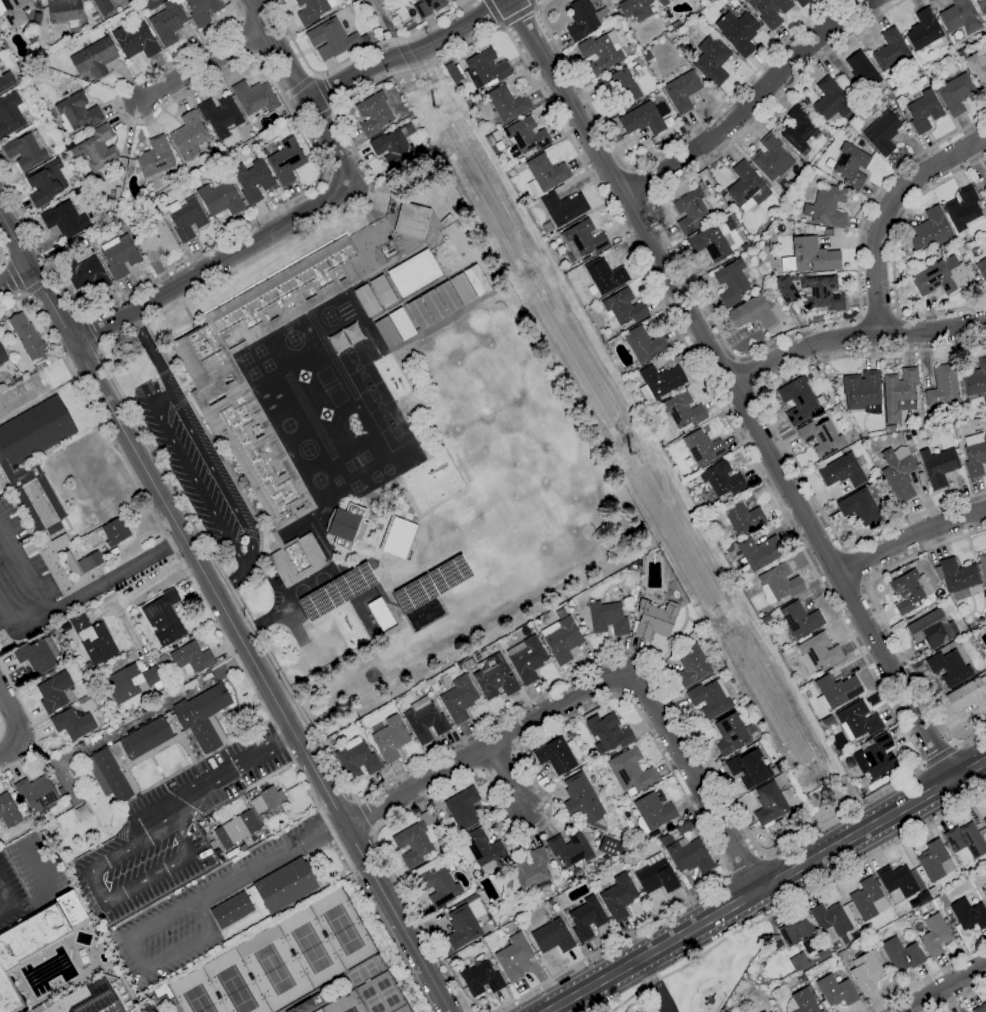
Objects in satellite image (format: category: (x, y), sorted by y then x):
building: (120, 0)
building: (451, 0)
building: (664, 2)
building: (733, 2)
building: (802, 2)
road: (533, 3)
building: (103, 6)
building: (981, 6)
building: (428, 7)
building: (636, 9)
building: (203, 10)
building: (313, 10)
building: (769, 10)
building: (15, 11)
building: (64, 12)
road: (494, 13)
road: (517, 15)
building: (95, 16)
building: (959, 16)
building: (585, 19)
building: (168, 23)
building: (675, 25)
building: (924, 30)
building: (738, 31)
building: (333, 39)
building: (136, 41)
road: (276, 48)
building: (890, 49)
road: (410, 52)
building: (601, 52)
road: (355, 54)
building: (95, 58)
building: (712, 60)
building: (908, 62)
road: (200, 64)
building: (486, 68)
building: (978, 69)
building: (454, 72)
building: (864, 72)
building: (923, 80)
building: (6, 82)
building: (625, 83)
road: (300, 85)
building: (682, 91)
road: (324, 92)
building: (956, 93)
building: (255, 97)
building: (830, 100)
road: (748, 102)
building: (507, 103)
power tower: (432, 107)
building: (924, 111)
building: (74, 112)
building: (375, 113)
building: (11, 114)
building: (221, 116)
building: (647, 116)
road: (318, 118)
building: (799, 130)
building: (79, 133)
building: (882, 133)
building: (189, 136)
building: (525, 136)
building: (490, 138)
road: (328, 139)
building: (860, 144)
building: (394, 146)
building: (499, 146)
building: (658, 146)
building: (99, 148)
road: (659, 149)
building: (26, 151)
road: (318, 156)
building: (156, 158)
building: (772, 158)
building: (286, 161)
building: (851, 165)
building: (223, 171)
building: (511, 173)
building: (544, 174)
building: (253, 180)
building: (46, 183)
road: (639, 185)
building: (747, 187)
building: (220, 199)
road: (363, 206)
building: (790, 206)
building: (564, 207)
building: (828, 207)
building: (692, 209)
road: (885, 209)
building: (964, 209)
road: (905, 213)
building: (785, 216)
building: (187, 218)
building: (412, 219)
building: (65, 220)
building: (116, 223)
building: (931, 230)
building: (120, 232)
building: (155, 237)
building: (583, 239)
building: (714, 239)
building: (963, 240)
building: (744, 246)
building: (387, 247)
building: (985, 249)
building: (391, 253)
road: (3, 256)
building: (119, 256)
building: (813, 256)
road: (211, 264)
building: (981, 268)
building: (414, 273)
building: (86, 275)
building: (605, 275)
road: (14, 276)
road: (15, 276)
building: (941, 276)
building: (731, 282)
road: (40, 283)
building: (469, 283)
building: (785, 289)
building: (383, 291)
building: (821, 293)
building: (448, 296)
building: (367, 300)
building: (434, 305)
building: (624, 307)
road: (705, 309)
road: (942, 311)
building: (419, 313)
building: (753, 313)
road: (878, 316)
road: (89, 332)
building: (28, 337)
road: (853, 337)
building: (644, 344)
building: (2, 356)
road: (747, 375)
building: (975, 379)
building: (207, 382)
building: (660, 382)
road: (732, 389)
building: (943, 389)
building: (863, 392)
building: (898, 394)
building: (822, 397)
building: (798, 400)
building: (680, 411)
building: (925, 421)
building: (889, 428)
road: (776, 433)
building: (875, 434)
building: (821, 438)
building: (703, 447)
building: (975, 454)
power tower: (629, 455)
road: (205, 456)
parking lot: (186, 461)
building: (10, 463)
building: (939, 466)
building: (844, 470)
building: (898, 473)
road: (193, 476)
building: (722, 478)
building: (868, 484)
building: (859, 507)
building: (742, 516)
building: (347, 526)
building: (116, 532)
road: (908, 535)
building: (399, 537)
building: (279, 538)
building: (60, 542)
building: (102, 549)
building: (729, 549)
building: (759, 552)
building: (297, 560)
building: (90, 562)
road: (854, 564)
building: (983, 564)
parking lot: (20, 570)
road: (24, 570)
road: (116, 577)
building: (957, 577)
building: (778, 584)
building: (910, 591)
road: (129, 592)
building: (575, 609)
road: (100, 610)
road: (226, 611)
building: (985, 615)
building: (164, 618)
building: (608, 618)
building: (654, 619)
building: (766, 619)
road: (882, 620)
building: (798, 622)
building: (64, 627)
building: (933, 628)
road: (20, 629)
building: (52, 630)
building: (697, 633)
building: (703, 637)
building: (93, 639)
road: (224, 639)
building: (561, 639)
building: (984, 651)
building: (818, 653)
building: (38, 655)
building: (191, 658)
building: (527, 658)
building: (470, 664)
building: (692, 665)
building: (460, 666)
building: (949, 668)
building: (51, 673)
building: (468, 676)
building: (494, 677)
building: (431, 681)
building: (131, 682)
building: (423, 686)
building: (54, 691)
building: (836, 691)
building: (163, 692)
building: (969, 695)
building: (710, 698)
building: (459, 699)
building: (425, 720)
building: (828, 720)
building: (858, 721)
road: (33, 723)
building: (73, 724)
road: (1, 726)
road: (18, 726)
road: (549, 729)
building: (609, 732)
building: (763, 734)
building: (570, 735)
building: (731, 735)
building: (95, 738)
building: (390, 738)
building: (161, 739)
road: (486, 747)
road: (939, 753)
building: (878, 755)
building: (556, 756)
building: (356, 758)
building: (778, 767)
building: (749, 768)
road: (225, 770)
building: (631, 771)
road: (505, 778)
building: (863, 781)
road: (698, 782)
building: (60, 791)
building: (38, 792)
building: (663, 795)
building: (13, 796)
building: (267, 799)
building: (583, 801)
power tower: (824, 802)
building: (431, 804)
building: (772, 805)
building: (464, 808)
building: (8, 811)
building: (653, 812)
road: (361, 815)
building: (984, 821)
building: (686, 827)
building: (236, 829)
road: (748, 837)
building: (417, 839)
building: (665, 840)
building: (965, 842)
building: (608, 846)
building: (242, 848)
building: (484, 849)
building: (571, 849)
building: (232, 853)
building: (690, 855)
road: (269, 860)
building: (935, 861)
road: (742, 863)
building: (559, 867)
building: (533, 872)
building: (656, 875)
building: (436, 882)
building: (898, 882)
parking lot: (28, 883)
building: (509, 885)
road: (48, 887)
building: (282, 887)
road: (766, 887)
building: (619, 897)
building: (866, 899)
building: (943, 899)
building: (985, 899)
road: (9, 900)
road: (797, 900)
road: (106, 901)
building: (550, 901)
building: (232, 910)
building: (968, 914)
building: (586, 918)
building: (831, 920)
building: (462, 927)
park: (343, 929)
building: (801, 934)
building: (935, 935)
building: (553, 937)
building: (845, 939)
building: (35, 943)
park: (311, 948)
building: (901, 954)
building: (514, 957)
building: (799, 962)
road: (145, 968)
park: (274, 969)
park: (363, 972)
building: (866, 972)
road: (926, 978)
building: (480, 979)
road: (655, 985)
road: (944, 988)
park: (236, 989)
building: (836, 991)
park: (387, 992)
building: (91, 998)
road: (962, 998)
park: (198, 999)
park: (372, 999)
building: (801, 1002)
building: (307, 1004)
building: (980, 1008)
park: (351, 1009)
parking lot: (150, 1010)
park: (404, 1011)
building: (726, 1011)
building: (763, 1011)

